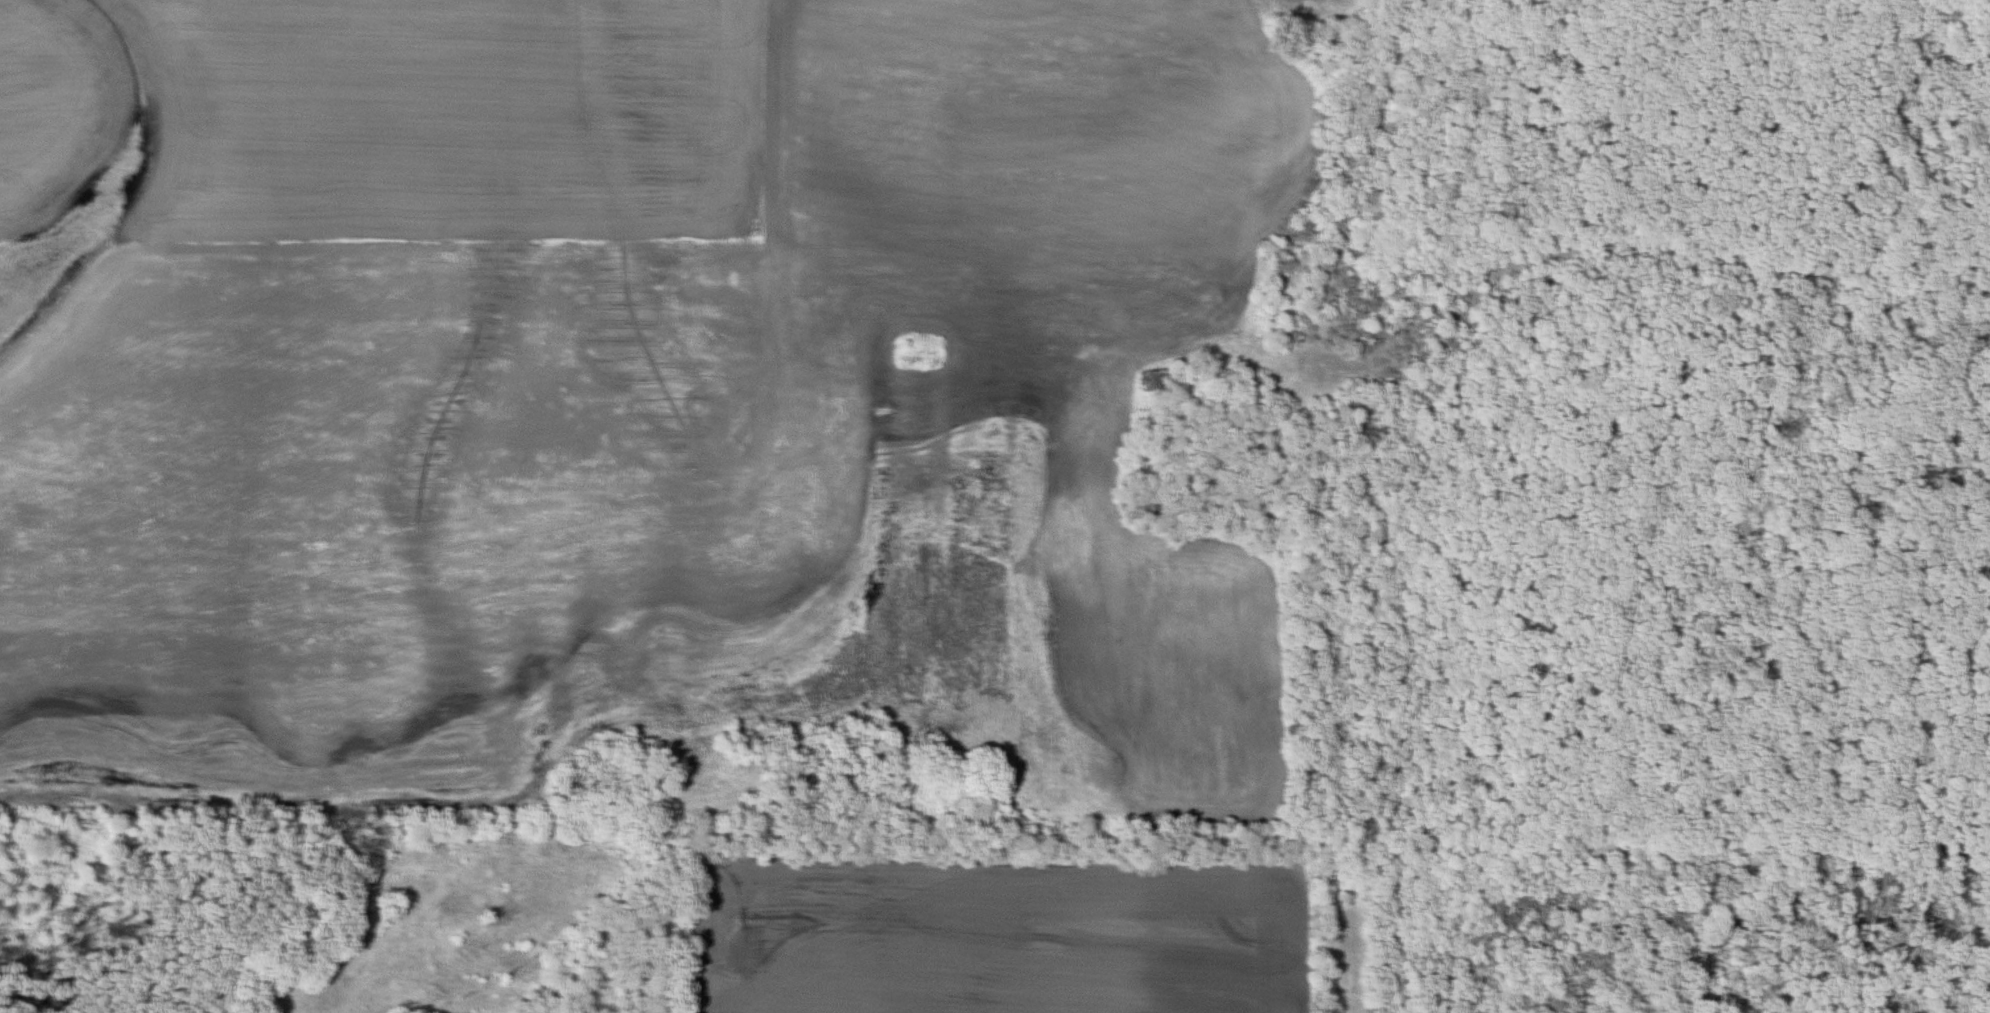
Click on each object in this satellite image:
building: (1150, 381)

